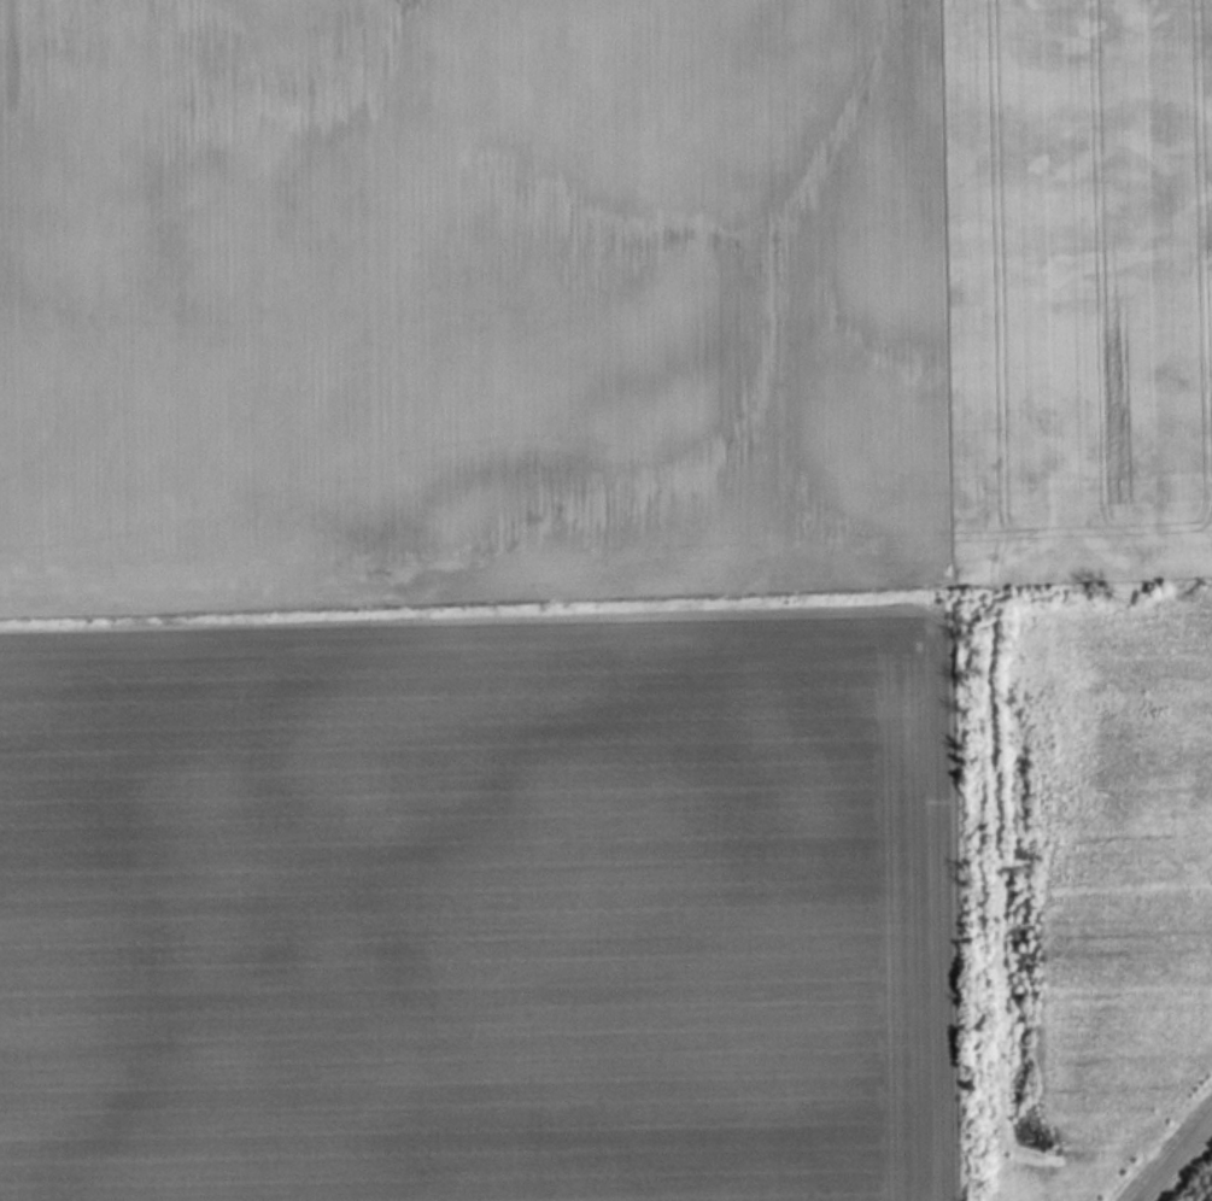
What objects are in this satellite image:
road: (1170, 1152)

